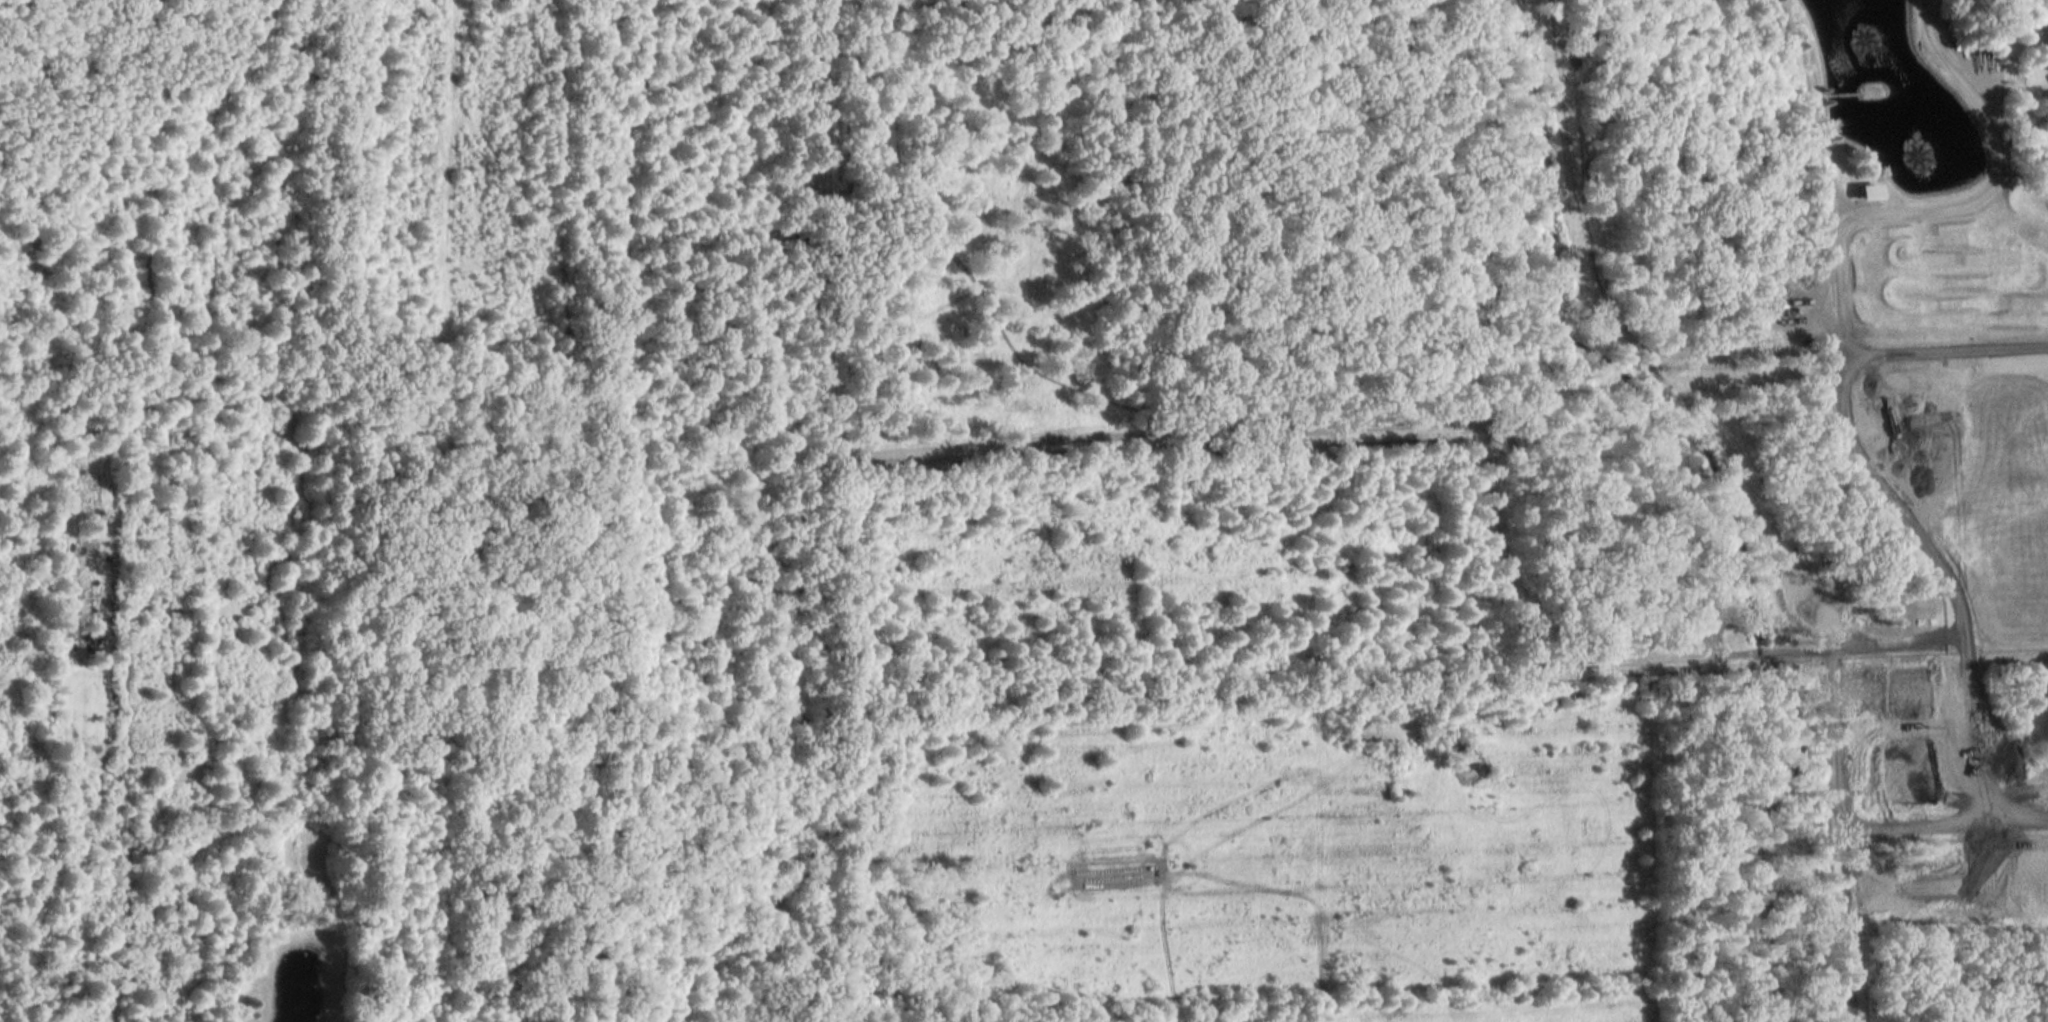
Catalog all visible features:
road: (1994, 161)
road: (1845, 430)
road: (2028, 813)

